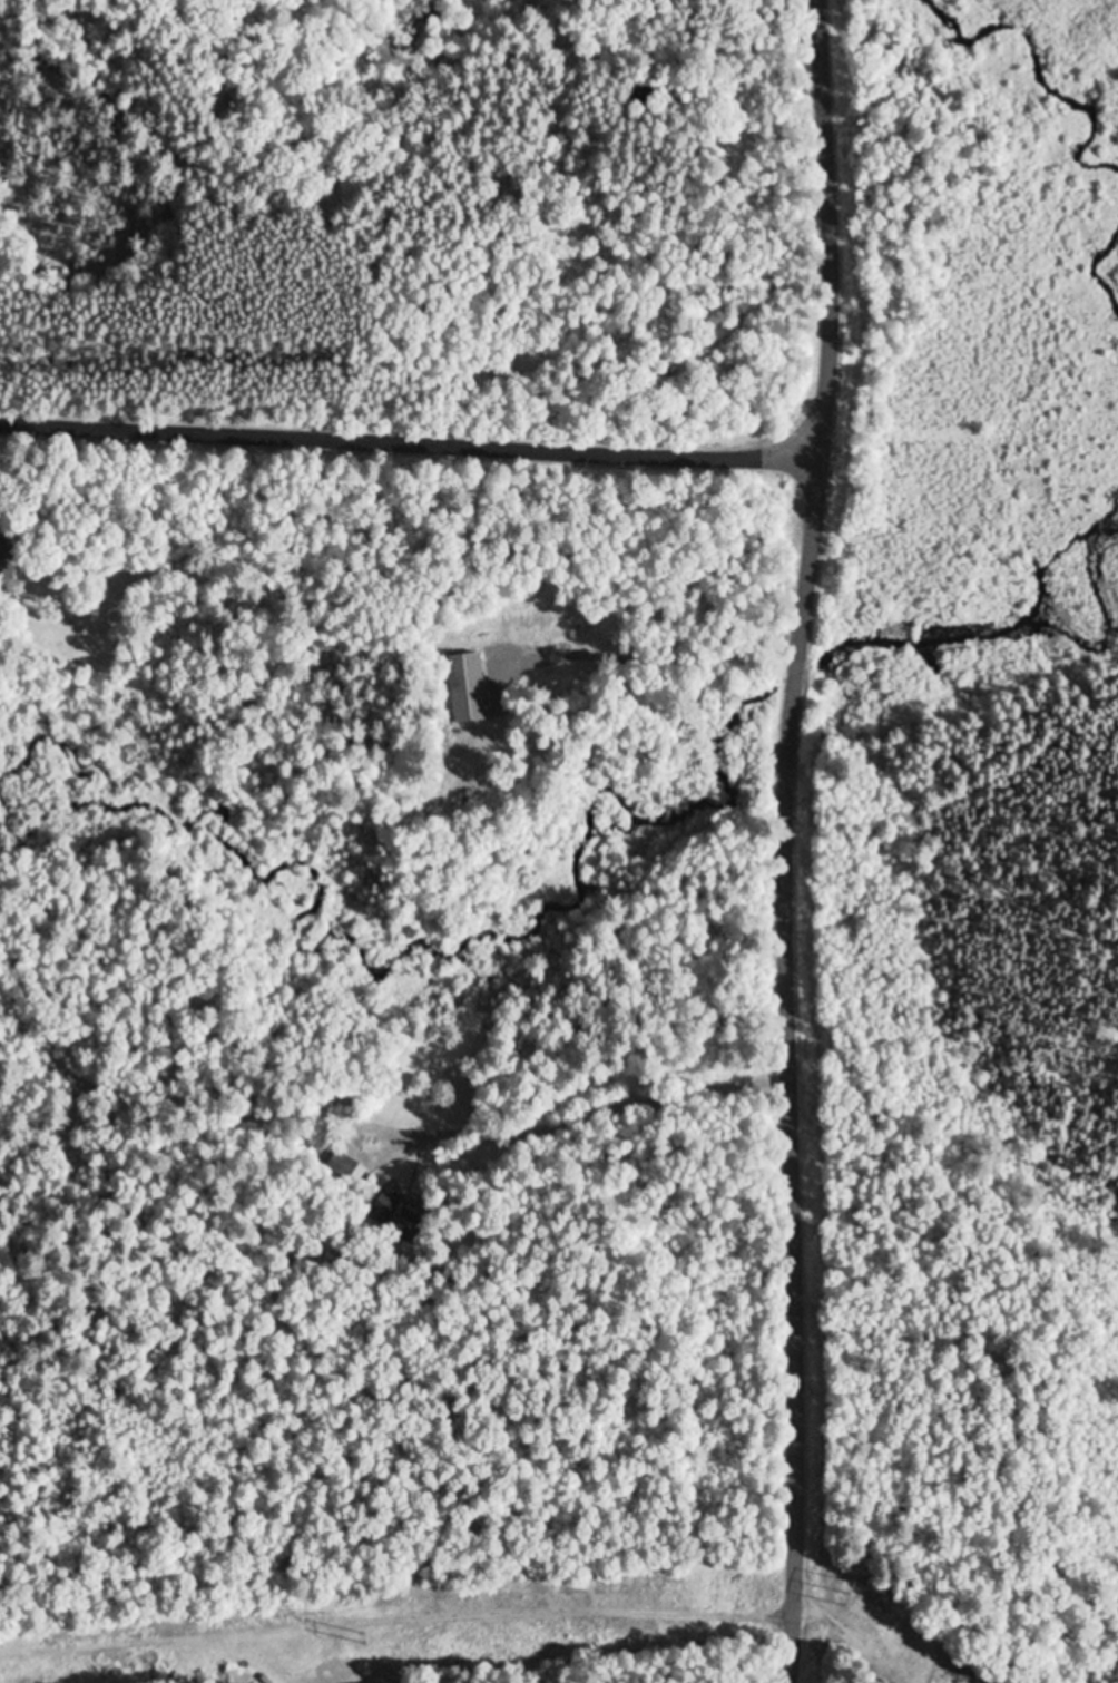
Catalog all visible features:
road: (825, 232)
road: (411, 444)
building: (4, 562)
building: (467, 689)
road: (788, 1072)
building: (341, 1166)
building: (398, 1215)
power tower: (849, 1597)
power tower: (362, 1638)

